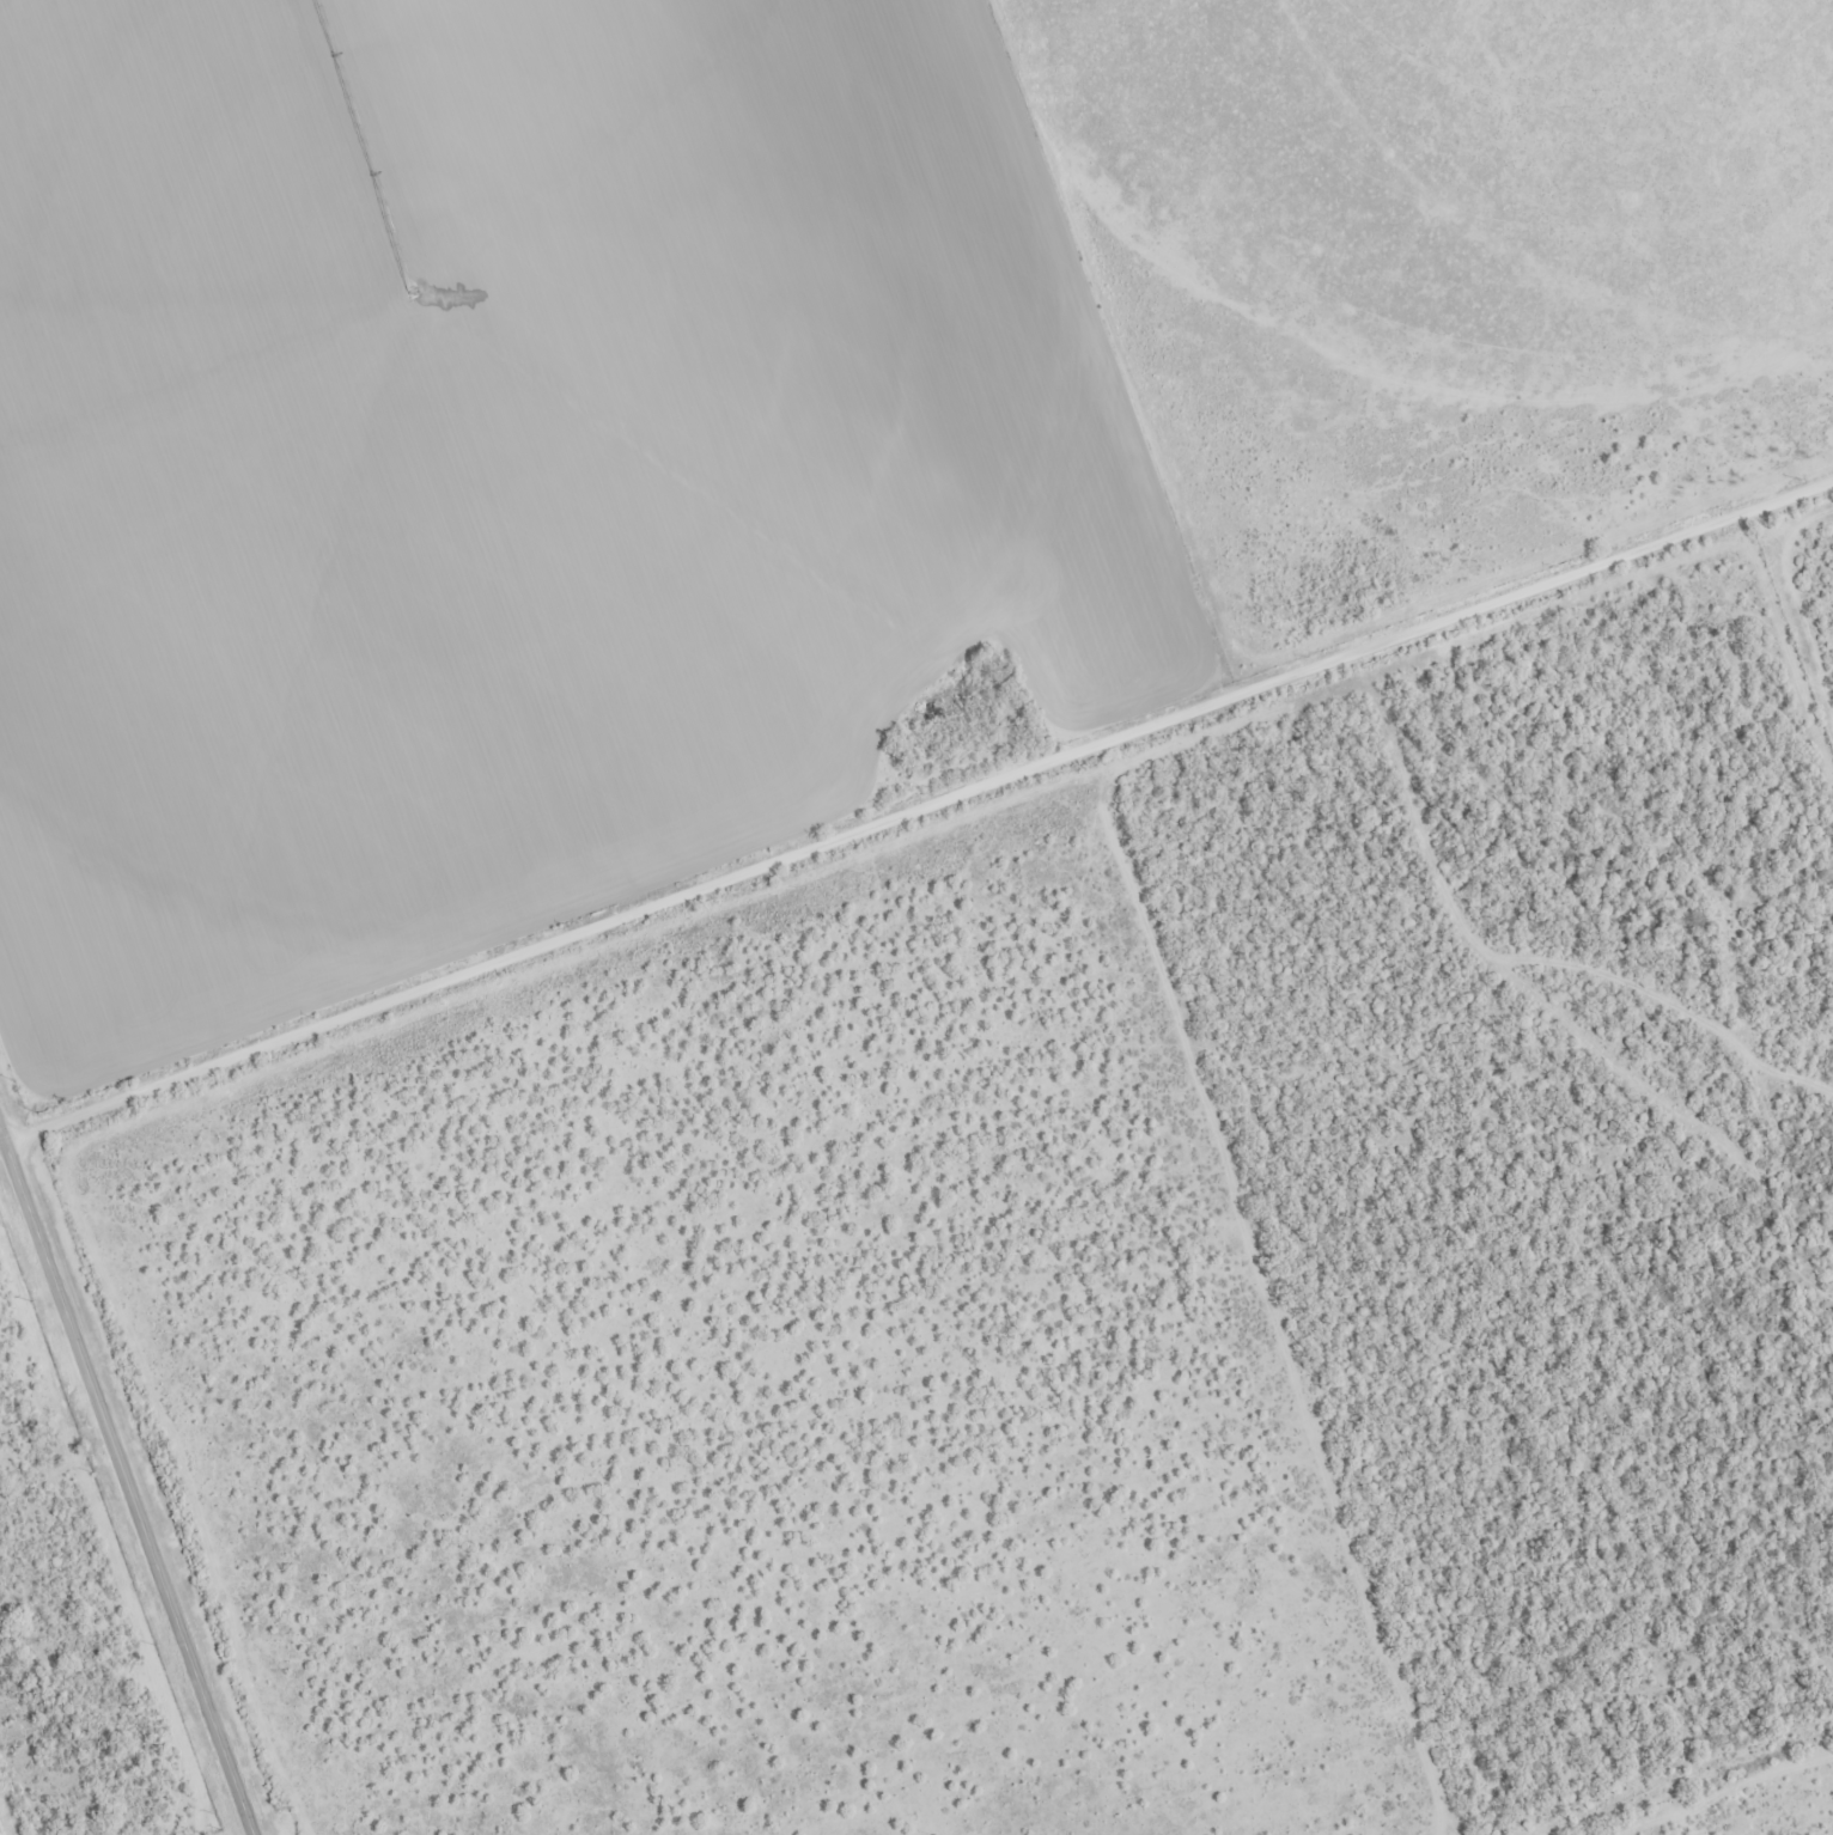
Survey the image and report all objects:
road: (916, 812)
road: (129, 1473)

